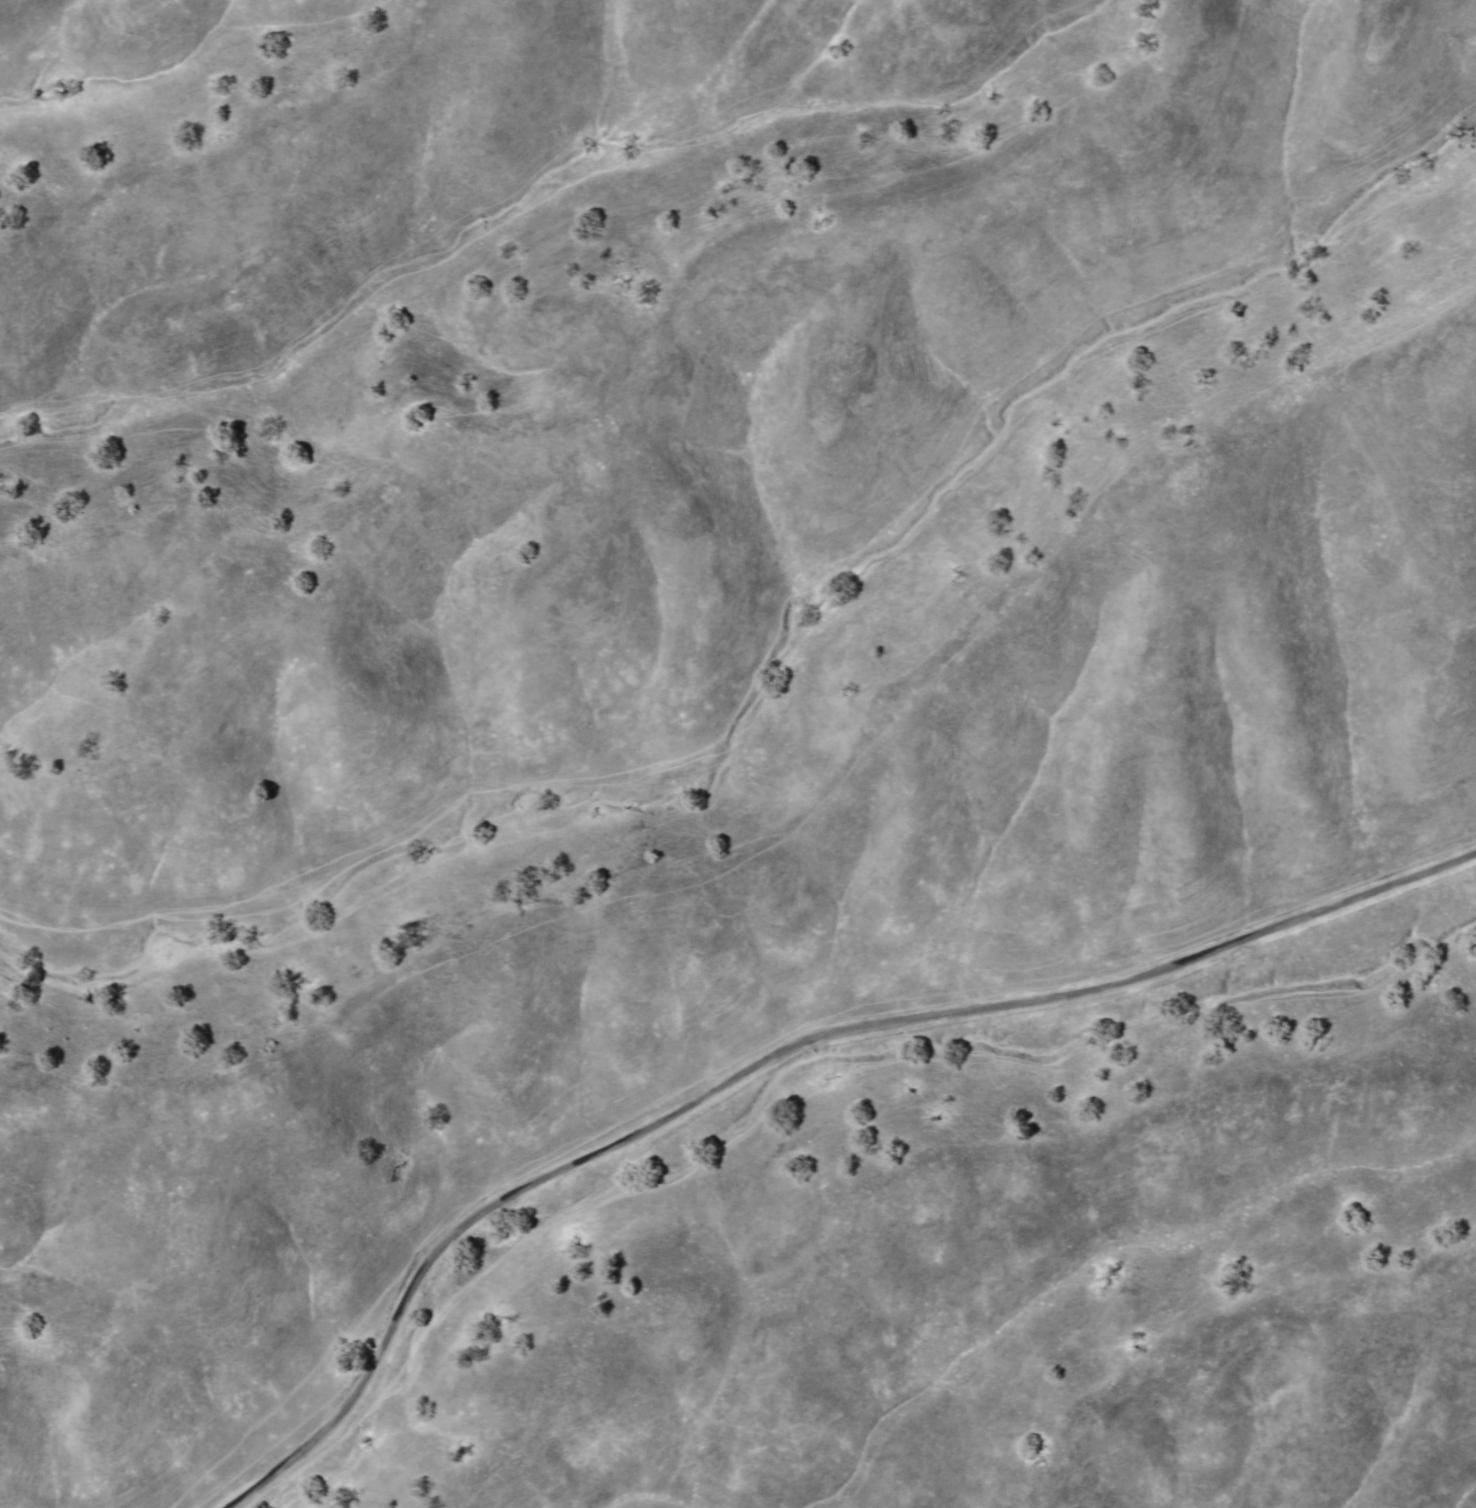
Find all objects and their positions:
road: (776, 1056)

